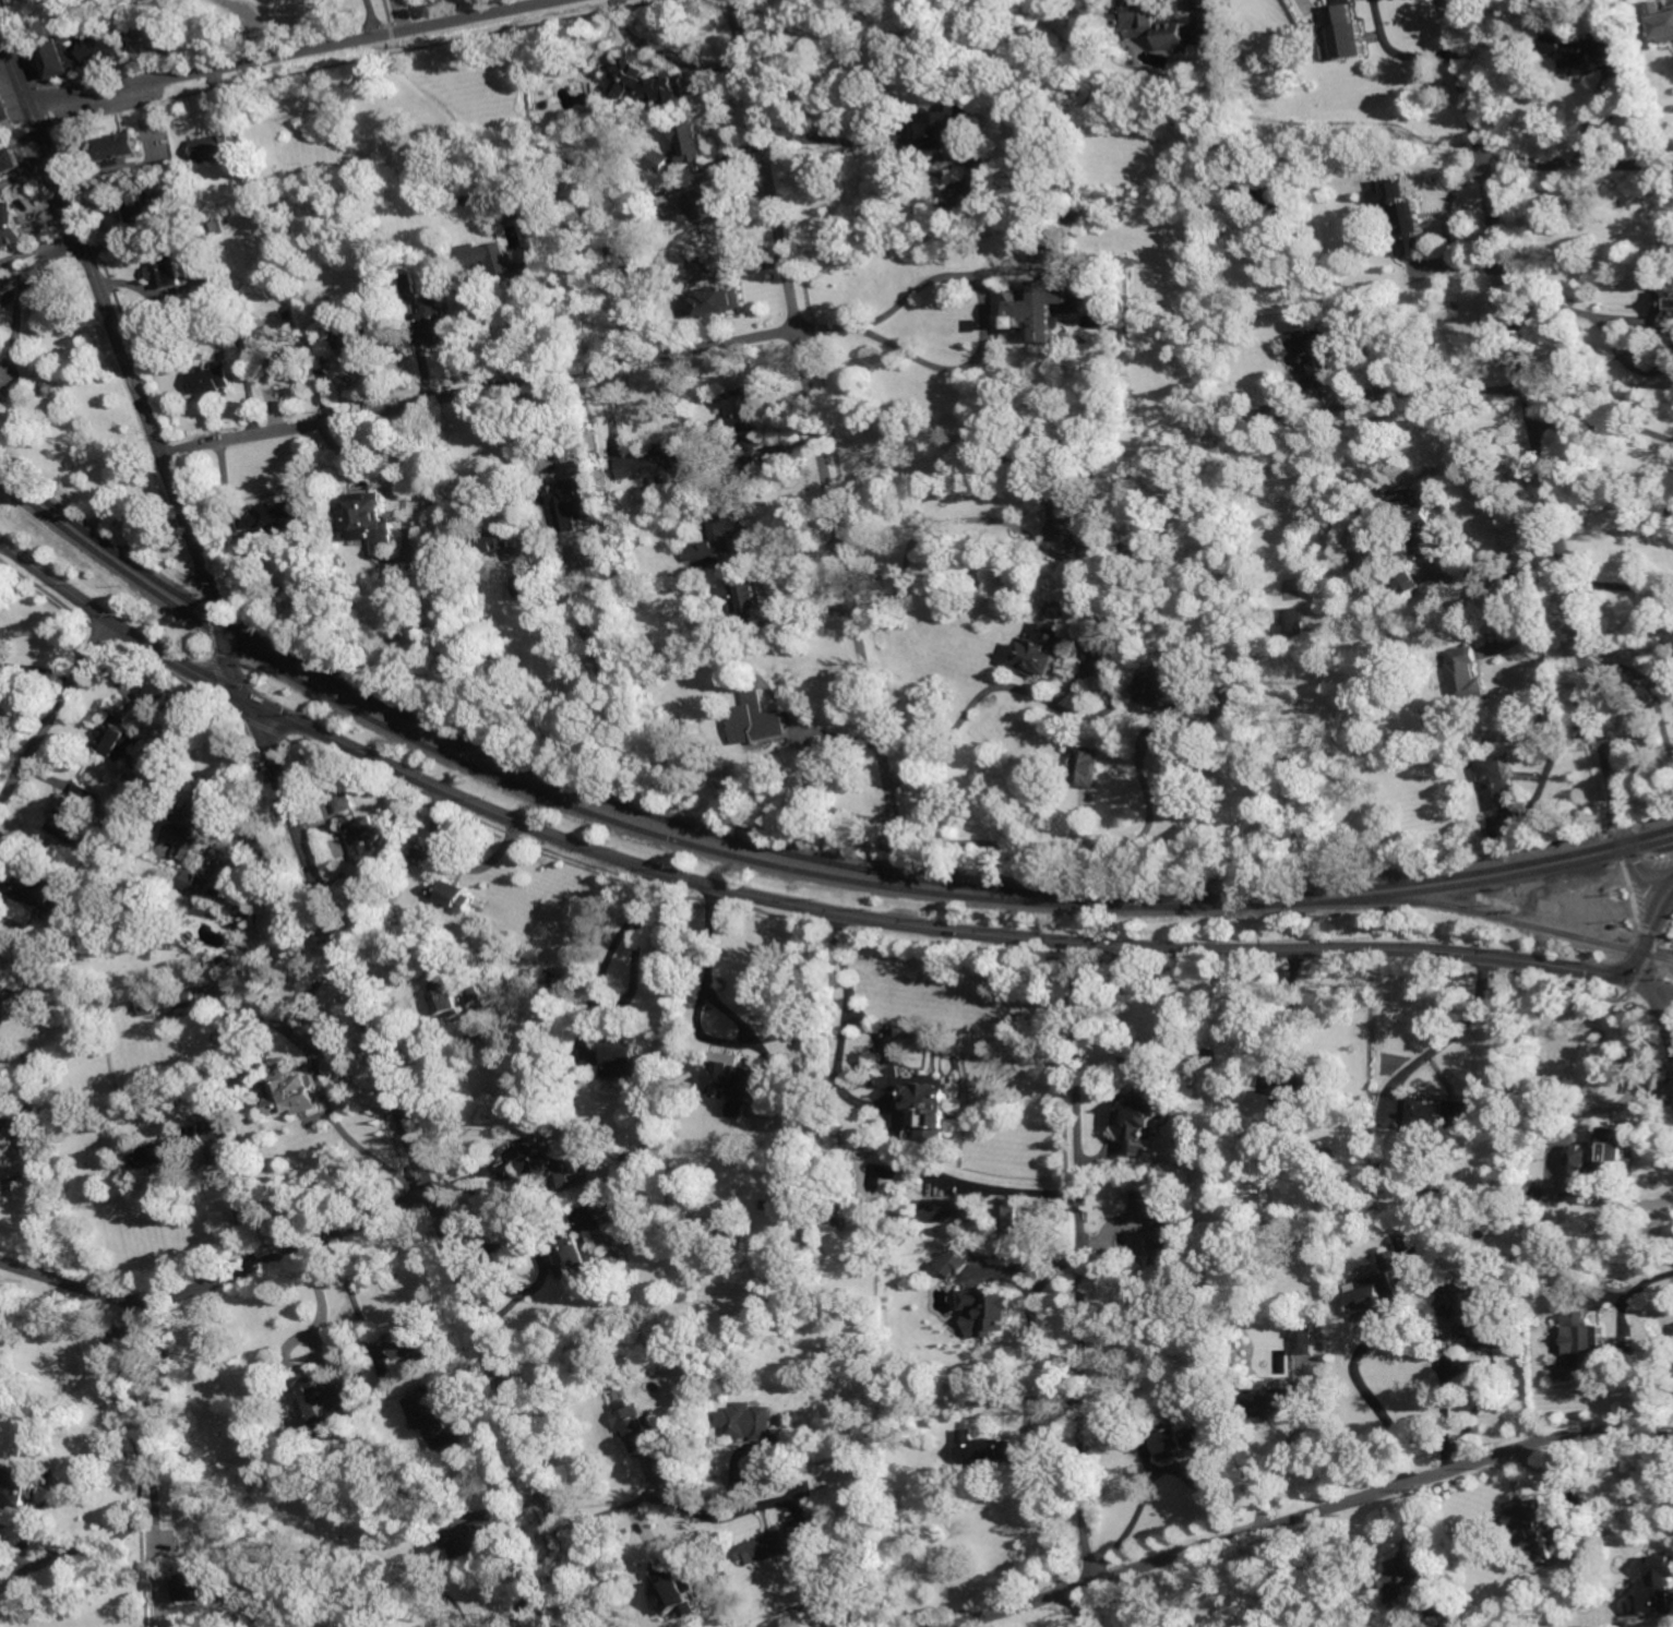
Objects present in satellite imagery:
road: (401, 15)
building: (1151, 24)
building: (1663, 25)
building: (1346, 36)
building: (106, 48)
road: (1398, 51)
road: (296, 52)
building: (1580, 52)
road: (5, 57)
building: (62, 58)
building: (650, 84)
building: (4, 107)
road: (1590, 112)
building: (947, 128)
road: (830, 137)
building: (694, 142)
building: (112, 147)
building: (214, 148)
building: (11, 159)
building: (659, 159)
road: (1577, 164)
road: (27, 172)
building: (975, 198)
building: (705, 205)
building: (141, 208)
building: (170, 210)
building: (11, 226)
building: (1409, 226)
building: (219, 227)
road: (1451, 229)
road: (69, 240)
building: (1142, 241)
road: (27, 249)
building: (231, 258)
road: (33, 268)
building: (507, 268)
building: (168, 272)
building: (215, 276)
building: (409, 283)
building: (1059, 291)
building: (720, 300)
road: (1553, 303)
building: (1668, 304)
building: (290, 315)
road: (1638, 319)
building: (435, 324)
road: (19, 325)
building: (1136, 330)
building: (355, 343)
road: (982, 344)
building: (1322, 355)
building: (291, 359)
road: (1625, 359)
building: (213, 378)
building: (50, 388)
road: (481, 388)
road: (1433, 391)
road: (817, 418)
building: (745, 423)
road: (1604, 424)
road: (368, 447)
road: (515, 450)
road: (1540, 454)
building: (654, 464)
building: (579, 503)
building: (1065, 513)
building: (365, 514)
building: (273, 516)
road: (959, 519)
building: (1419, 521)
building: (720, 535)
building: (495, 540)
road: (784, 552)
building: (586, 554)
building: (447, 558)
building: (1138, 559)
road: (1504, 576)
building: (1408, 582)
building: (530, 584)
road: (1623, 585)
building: (748, 597)
building: (1294, 621)
road: (1531, 631)
building: (1109, 637)
building: (1047, 649)
road: (37, 668)
building: (1466, 675)
road: (1635, 677)
building: (1200, 681)
building: (1170, 692)
building: (158, 695)
road: (56, 710)
building: (193, 710)
building: (763, 717)
road: (959, 721)
building: (119, 739)
road: (1554, 753)
road: (808, 766)
building: (1090, 766)
building: (1497, 783)
building: (346, 802)
building: (75, 815)
building: (194, 822)
road: (296, 824)
building: (1483, 830)
building: (366, 839)
road: (1094, 845)
railway: (791, 853)
road: (453, 861)
railway: (790, 869)
building: (199, 883)
building: (25, 886)
road: (1669, 889)
building: (452, 894)
road: (773, 896)
building: (1481, 898)
railway: (1155, 902)
railway: (1478, 912)
road: (1646, 935)
building: (74, 937)
building: (163, 937)
road: (637, 972)
road: (708, 976)
building: (558, 980)
road: (1649, 983)
road: (850, 995)
building: (455, 997)
building: (183, 1000)
building: (39, 1005)
building: (146, 1006)
road: (1287, 1008)
building: (0, 1009)
road: (1114, 1012)
road: (1668, 1017)
road: (1454, 1033)
building: (622, 1054)
road: (443, 1067)
building: (34, 1070)
building: (736, 1078)
building: (1314, 1082)
building: (1284, 1087)
building: (296, 1096)
building: (928, 1104)
building: (739, 1109)
building: (0, 1110)
building: (1444, 1112)
building: (33, 1118)
building: (1143, 1123)
building: (8, 1139)
building: (1603, 1152)
building: (160, 1153)
road: (1562, 1156)
building: (547, 1160)
road: (24, 1172)
road: (1005, 1188)
building: (1538, 1195)
road: (236, 1200)
building: (611, 1203)
building: (1144, 1204)
building: (952, 1210)
building: (1008, 1215)
building: (728, 1219)
building: (835, 1220)
building: (1171, 1252)
building: (1408, 1254)
building: (578, 1257)
building: (955, 1261)
road: (1084, 1267)
road: (220, 1278)
road: (1637, 1285)
building: (1378, 1291)
building: (989, 1308)
road: (168, 1309)
road: (1028, 1311)
road: (324, 1313)
building: (1477, 1319)
building: (1303, 1335)
building: (1581, 1338)
building: (411, 1343)
road: (1358, 1363)
road: (1472, 1363)
building: (1305, 1372)
building: (1003, 1396)
building: (311, 1398)
building: (1277, 1401)
building: (340, 1414)
building: (748, 1421)
building: (438, 1422)
building: (635, 1425)
building: (1171, 1439)
road: (154, 1446)
building: (798, 1449)
building: (987, 1449)
road: (141, 1455)
road: (1269, 1468)
building: (16, 1486)
road: (682, 1505)
road: (1310, 1515)
building: (1534, 1527)
building: (445, 1528)
building: (486, 1539)
building: (781, 1540)
building: (1579, 1557)
building: (1406, 1575)
building: (206, 1577)
building: (1657, 1588)
road: (536, 1589)
building: (674, 1590)
road: (1083, 1608)
building: (1439, 1613)

